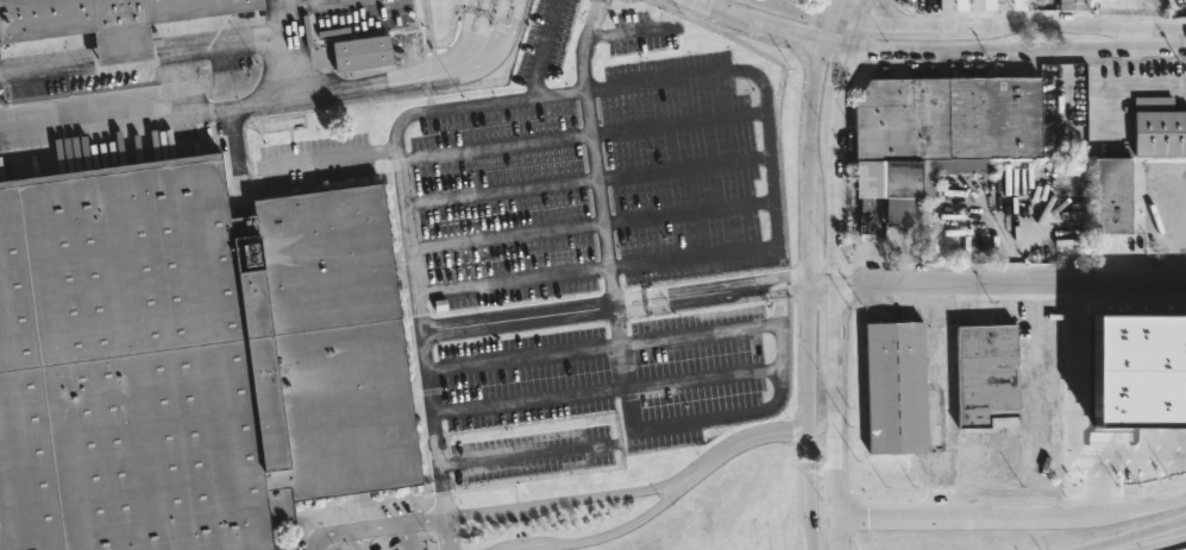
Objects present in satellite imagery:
building: (1115, 4)
building: (1071, 5)
building: (980, 6)
road: (793, 8)
road: (829, 8)
road: (856, 10)
road: (840, 18)
building: (113, 20)
road: (901, 21)
road: (1058, 21)
road: (754, 24)
road: (822, 30)
road: (1176, 34)
road: (992, 49)
building: (359, 52)
road: (157, 61)
road: (287, 67)
road: (272, 102)
road: (482, 102)
building: (1157, 127)
building: (941, 131)
road: (766, 154)
road: (285, 164)
building: (1110, 197)
road: (601, 214)
building: (860, 225)
road: (506, 234)
road: (994, 279)
road: (827, 283)
road: (778, 295)
road: (804, 296)
road: (611, 308)
road: (419, 328)
road: (778, 356)
road: (522, 359)
building: (192, 360)
building: (1137, 372)
road: (702, 375)
building: (987, 377)
building: (893, 388)
road: (528, 400)
road: (742, 437)
road: (558, 502)
road: (997, 513)
road: (1185, 525)
road: (372, 527)
road: (446, 533)
road: (608, 533)
road: (1134, 537)

